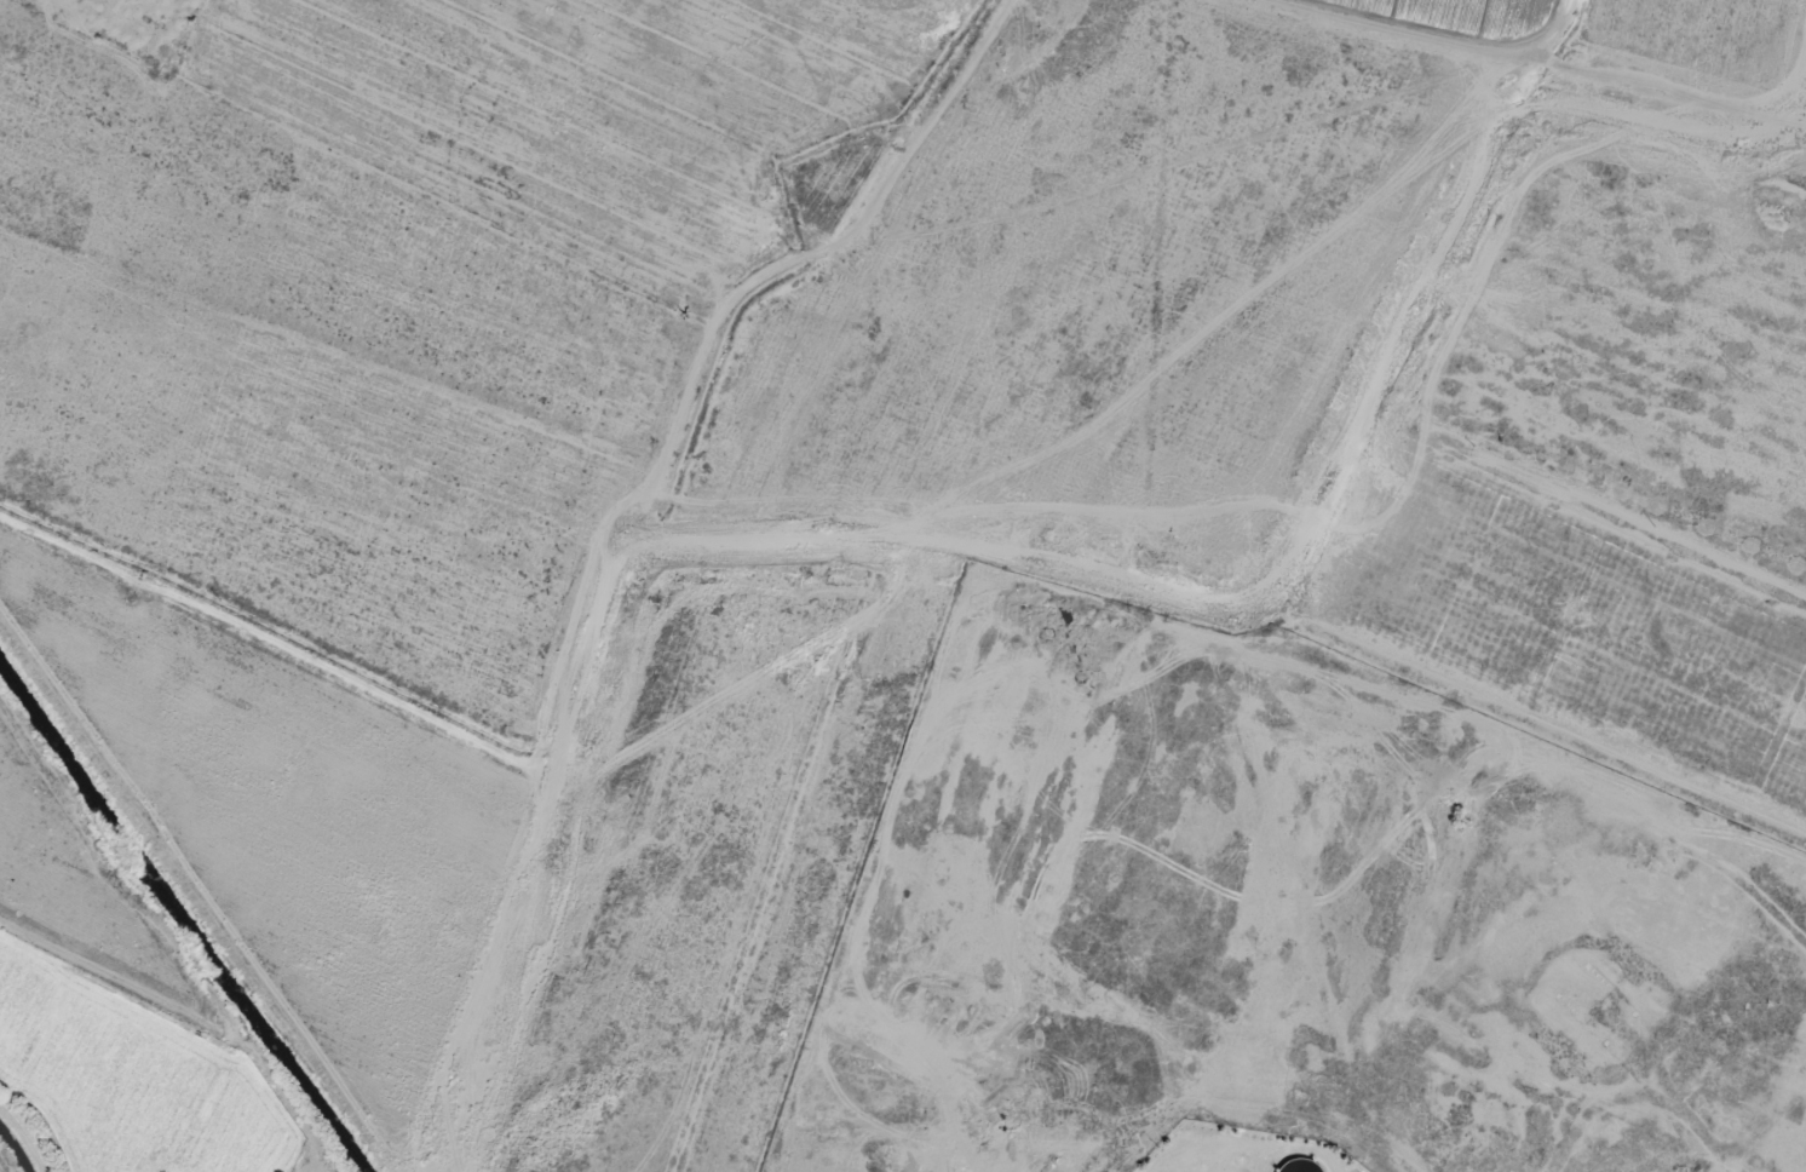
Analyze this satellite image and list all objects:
road: (1532, 67)
wastewater plant: (1240, 1153)

